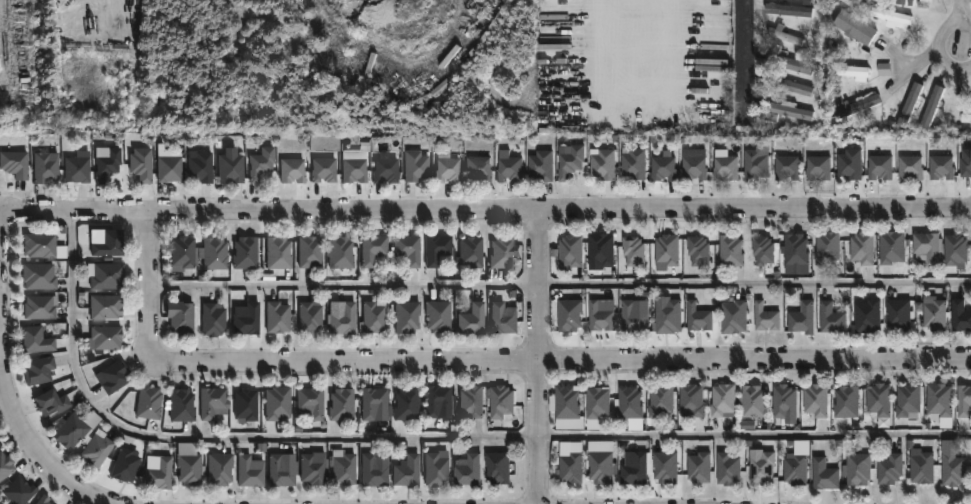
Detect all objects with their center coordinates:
building: (899, 0)
building: (921, 3)
building: (787, 10)
road: (961, 11)
building: (889, 15)
building: (853, 26)
road: (567, 29)
building: (785, 37)
road: (938, 44)
road: (744, 53)
building: (789, 63)
road: (913, 68)
building: (884, 70)
building: (851, 72)
building: (788, 85)
building: (858, 105)
building: (910, 105)
building: (932, 107)
building: (789, 110)
building: (966, 116)
building: (569, 162)
building: (18, 163)
building: (110, 163)
building: (145, 163)
building: (265, 163)
building: (602, 163)
building: (633, 163)
building: (849, 164)
building: (966, 164)
building: (204, 165)
building: (413, 165)
building: (540, 165)
building: (754, 165)
building: (48, 166)
building: (80, 167)
building: (173, 167)
building: (880, 167)
building: (941, 167)
building: (235, 168)
building: (662, 168)
building: (693, 168)
building: (725, 168)
building: (786, 168)
building: (817, 168)
building: (910, 168)
building: (323, 169)
building: (352, 169)
building: (383, 169)
building: (446, 169)
building: (477, 169)
building: (508, 169)
building: (291, 170)
road: (485, 212)
building: (113, 243)
building: (43, 244)
building: (826, 247)
building: (891, 247)
building: (926, 247)
building: (370, 248)
building: (435, 248)
building: (862, 248)
building: (406, 249)
building: (600, 249)
building: (795, 249)
building: (307, 250)
building: (570, 250)
building: (632, 250)
building: (666, 250)
building: (697, 250)
building: (762, 250)
building: (954, 250)
building: (275, 251)
building: (338, 251)
building: (500, 251)
building: (730, 251)
building: (245, 252)
building: (468, 252)
building: (186, 253)
building: (217, 253)
building: (111, 275)
building: (42, 276)
road: (560, 284)
building: (108, 306)
building: (42, 307)
building: (865, 314)
building: (897, 314)
building: (568, 315)
building: (933, 315)
building: (276, 316)
building: (372, 316)
building: (404, 316)
building: (436, 316)
building: (960, 316)
building: (308, 317)
building: (667, 317)
building: (698, 317)
building: (733, 317)
building: (180, 318)
building: (599, 318)
building: (632, 318)
building: (764, 318)
building: (801, 318)
building: (831, 318)
building: (211, 319)
building: (342, 319)
building: (470, 319)
building: (501, 319)
building: (245, 320)
building: (110, 336)
building: (39, 340)
road: (537, 357)
road: (491, 361)
building: (42, 370)
building: (116, 377)
building: (434, 399)
building: (878, 399)
building: (722, 400)
building: (815, 400)
building: (907, 400)
building: (470, 401)
building: (499, 401)
building: (660, 401)
building: (783, 401)
building: (938, 401)
building: (963, 401)
building: (56, 402)
building: (152, 402)
building: (216, 402)
building: (275, 402)
building: (308, 402)
building: (372, 402)
building: (565, 402)
building: (595, 402)
building: (690, 402)
building: (752, 402)
building: (846, 402)
building: (246, 403)
building: (339, 403)
building: (404, 403)
building: (628, 403)
building: (185, 405)
building: (74, 431)
road: (429, 437)
building: (0, 444)
building: (100, 447)
road: (38, 459)
building: (128, 465)
building: (6, 466)
building: (434, 467)
building: (599, 467)
building: (664, 467)
building: (193, 468)
building: (222, 468)
building: (342, 468)
building: (496, 468)
building: (570, 468)
building: (698, 468)
building: (727, 468)
building: (922, 468)
building: (310, 469)
building: (761, 469)
building: (857, 469)
building: (889, 469)
building: (372, 470)
building: (467, 470)
building: (634, 470)
building: (953, 470)
building: (282, 471)
building: (407, 471)
building: (795, 471)
building: (160, 472)
building: (253, 472)
building: (824, 475)
building: (22, 490)
building: (46, 499)

